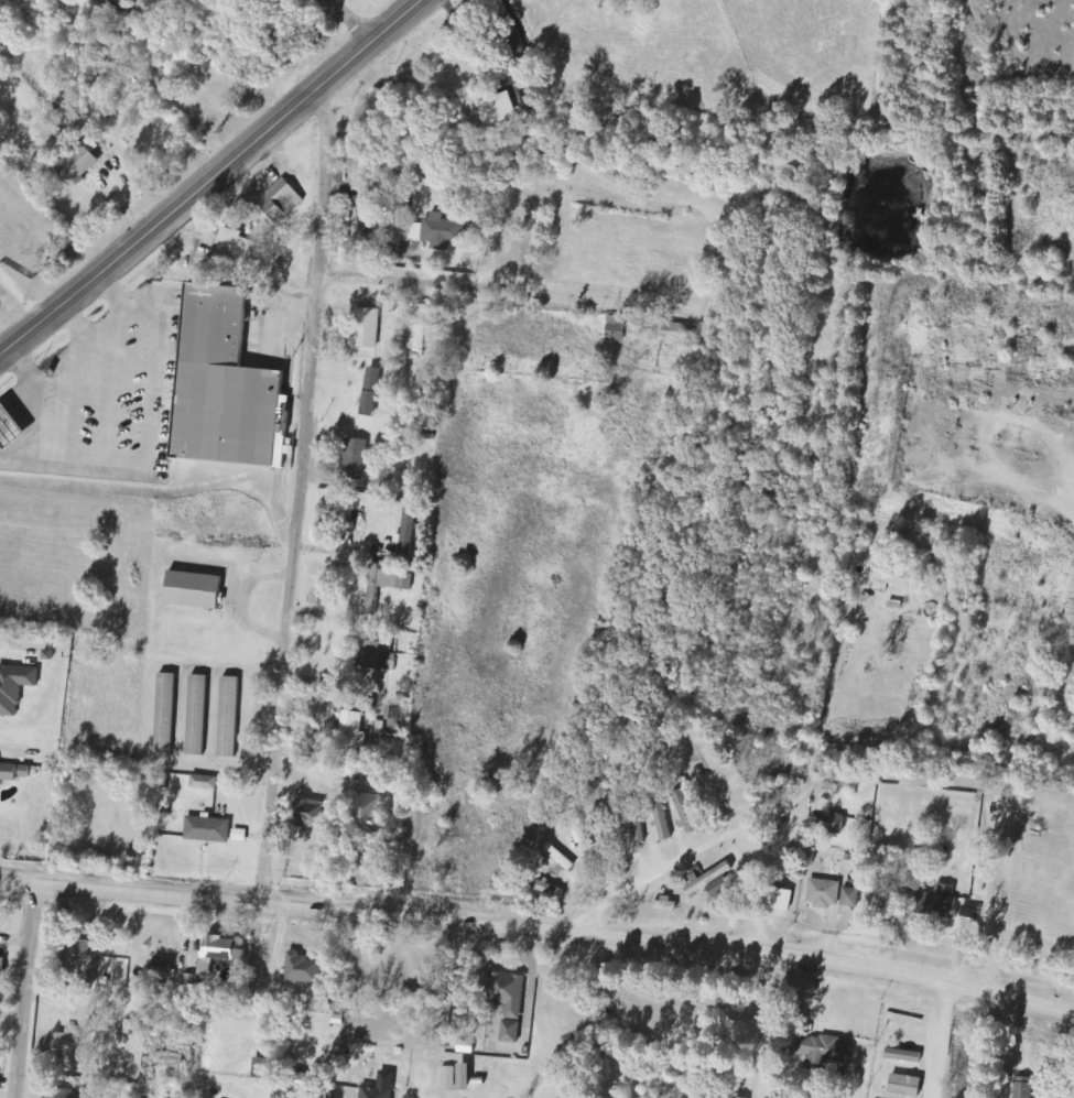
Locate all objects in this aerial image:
road: (351, 20)
building: (7, 54)
building: (496, 109)
building: (74, 170)
road: (210, 172)
building: (279, 203)
road: (572, 208)
building: (436, 232)
building: (231, 251)
building: (366, 328)
building: (615, 329)
building: (421, 330)
building: (227, 384)
building: (370, 393)
building: (12, 427)
building: (354, 459)
road: (296, 498)
building: (894, 580)
building: (384, 585)
building: (194, 590)
building: (375, 656)
building: (14, 688)
building: (165, 713)
building: (196, 714)
building: (228, 717)
building: (350, 735)
building: (15, 772)
building: (203, 783)
road: (804, 795)
building: (306, 812)
building: (365, 815)
building: (661, 818)
building: (575, 822)
building: (605, 823)
building: (827, 823)
building: (206, 829)
building: (638, 831)
building: (238, 835)
building: (557, 857)
building: (823, 893)
building: (850, 898)
building: (777, 899)
building: (941, 902)
building: (664, 904)
road: (540, 927)
building: (223, 948)
building: (2, 966)
building: (302, 968)
building: (191, 982)
road: (24, 993)
building: (508, 1002)
building: (68, 1035)
road: (933, 1039)
building: (823, 1047)
building: (902, 1056)
building: (166, 1058)
building: (258, 1068)
building: (463, 1077)
building: (448, 1078)
building: (903, 1086)
building: (378, 1087)
building: (1022, 1087)
building: (73, 1094)
building: (710, 1096)
building: (733, 1097)

